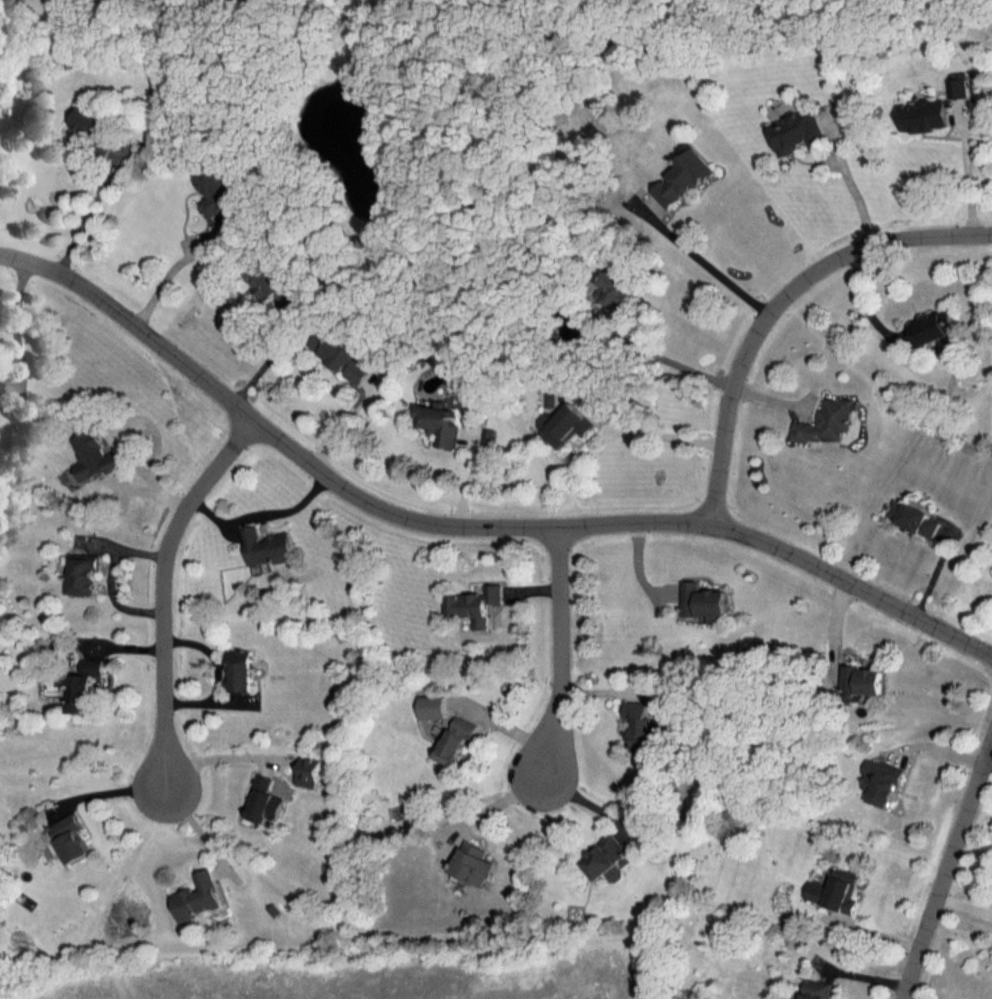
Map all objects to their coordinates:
building: (960, 87)
building: (924, 114)
building: (88, 119)
building: (798, 130)
building: (683, 178)
road: (969, 180)
building: (217, 189)
road: (857, 198)
road: (91, 212)
road: (710, 267)
road: (165, 276)
building: (270, 286)
building: (616, 288)
road: (780, 305)
building: (933, 326)
road: (16, 327)
building: (344, 354)
road: (677, 363)
building: (827, 421)
building: (440, 422)
building: (565, 424)
road: (123, 434)
road: (661, 436)
building: (95, 456)
road: (264, 515)
building: (912, 517)
road: (469, 524)
building: (267, 546)
building: (82, 574)
road: (112, 578)
road: (165, 589)
building: (704, 601)
building: (475, 604)
road: (561, 654)
building: (92, 665)
building: (240, 669)
road: (219, 676)
building: (863, 679)
building: (80, 692)
building: (433, 706)
building: (640, 723)
building: (455, 739)
road: (220, 758)
road: (987, 766)
building: (308, 770)
building: (881, 780)
road: (110, 792)
building: (264, 800)
road: (199, 829)
building: (70, 837)
building: (604, 856)
building: (473, 862)
road: (946, 869)
building: (836, 889)
building: (198, 896)
building: (816, 988)

